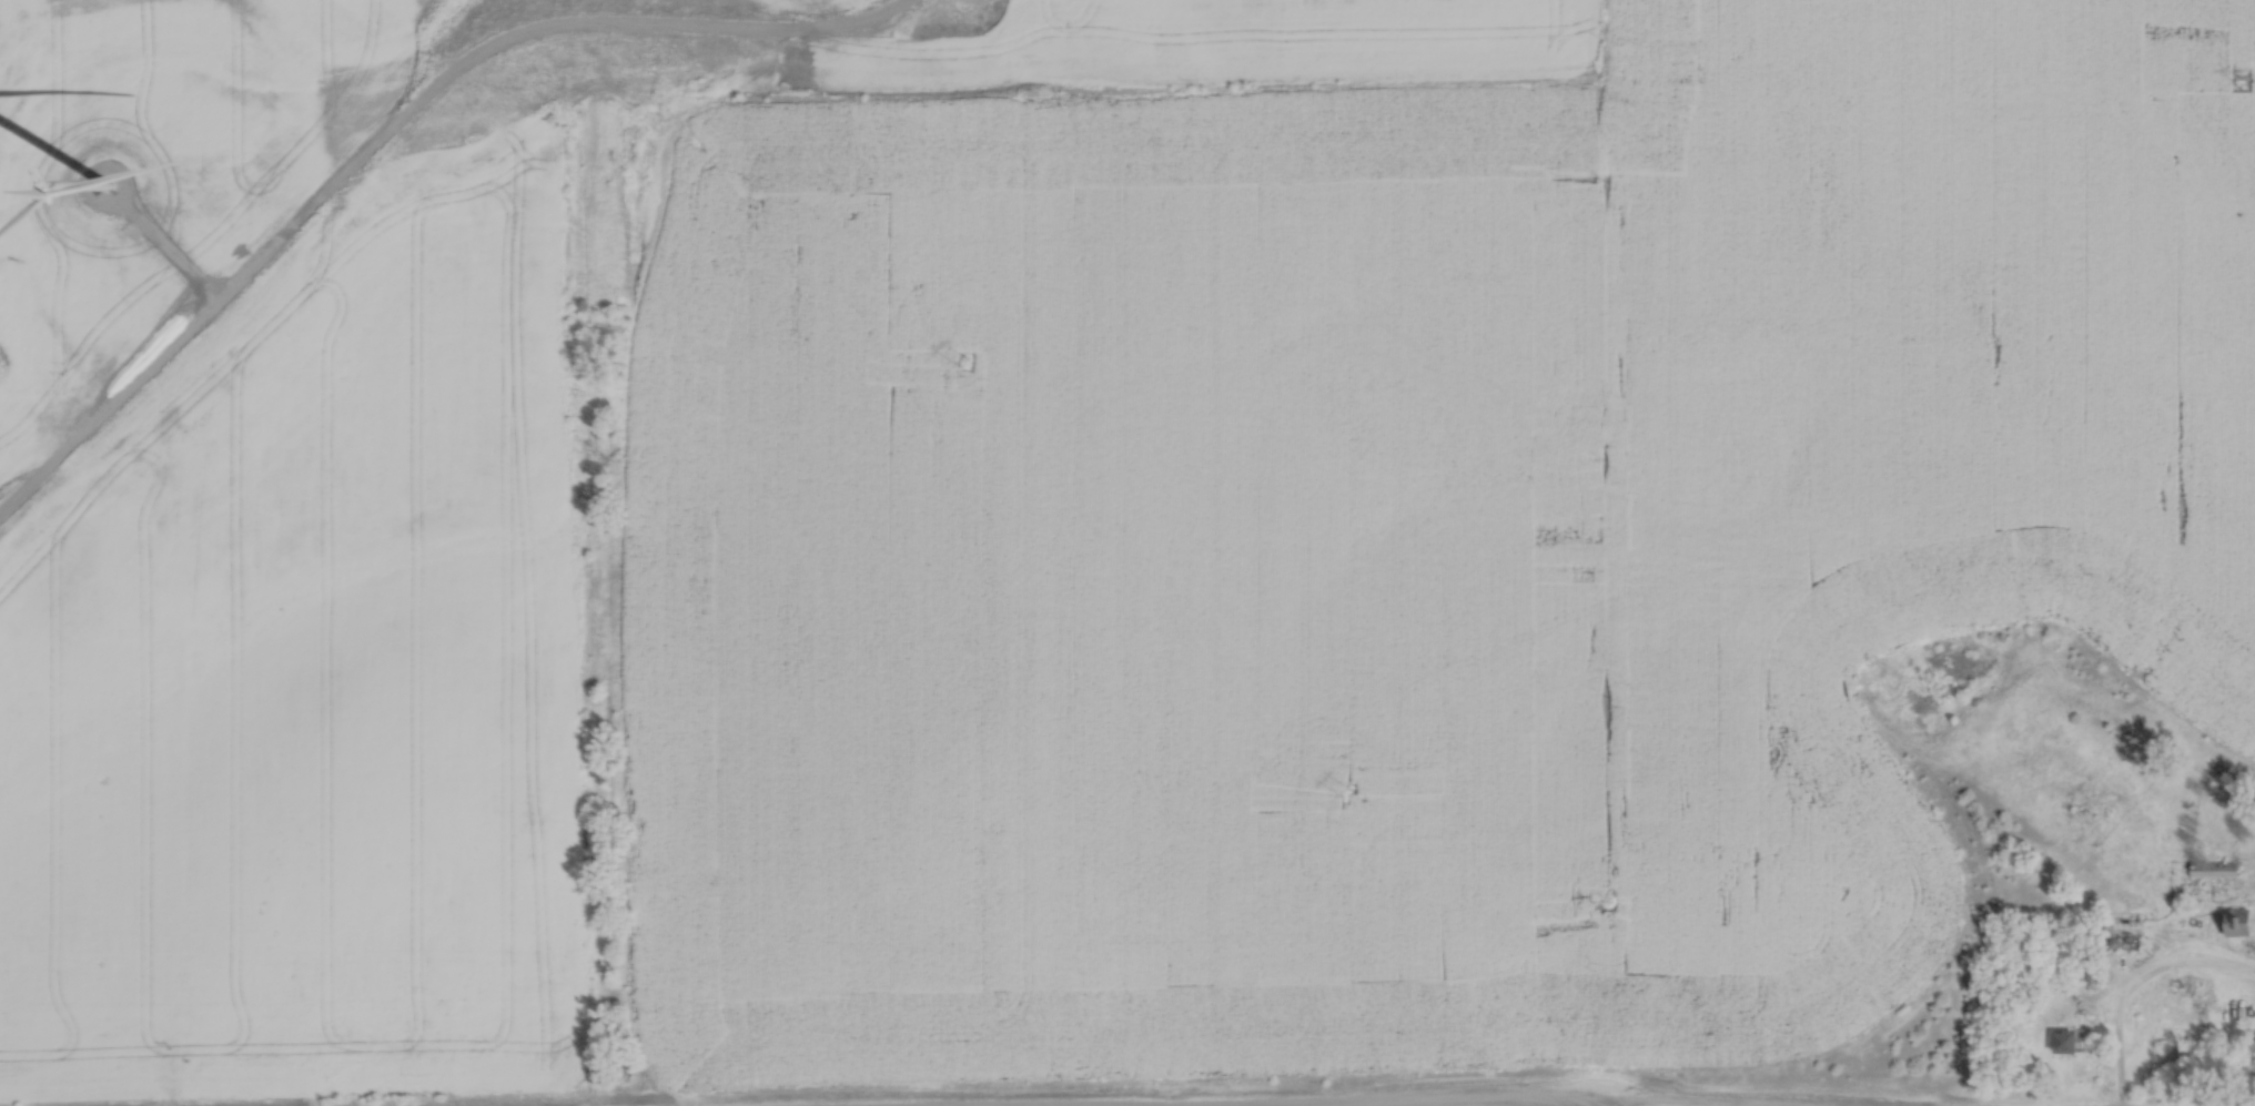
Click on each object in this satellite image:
power tower: (2237, 77)
wind turbine: (108, 185)
power tower: (964, 361)
power tower: (1346, 790)
building: (2217, 871)
building: (2132, 919)
building: (2243, 926)
road: (2135, 987)
building: (2070, 1043)

